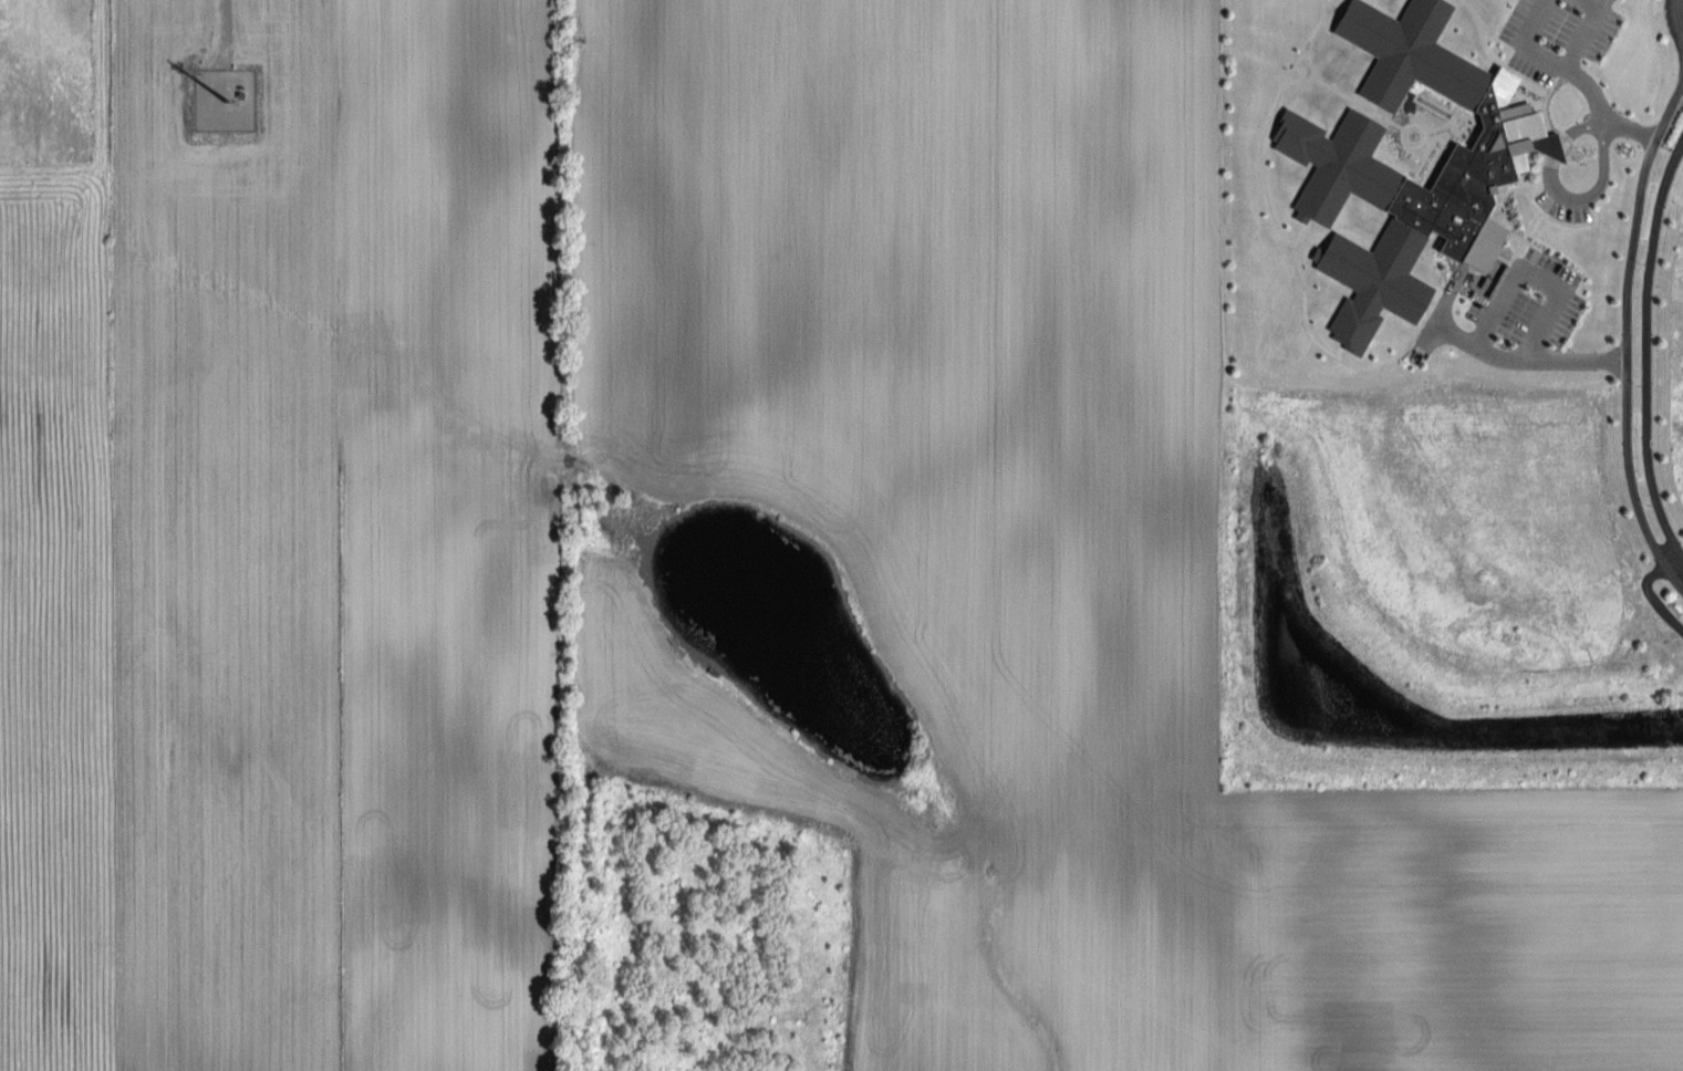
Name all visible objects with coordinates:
road: (1671, 22)
road: (1582, 30)
road: (1520, 42)
road: (1602, 112)
road: (1606, 119)
road: (1570, 133)
road: (1556, 149)
building: (1359, 177)
road: (1580, 197)
road: (1487, 315)
road: (1625, 315)
road: (1645, 346)
road: (1652, 599)

